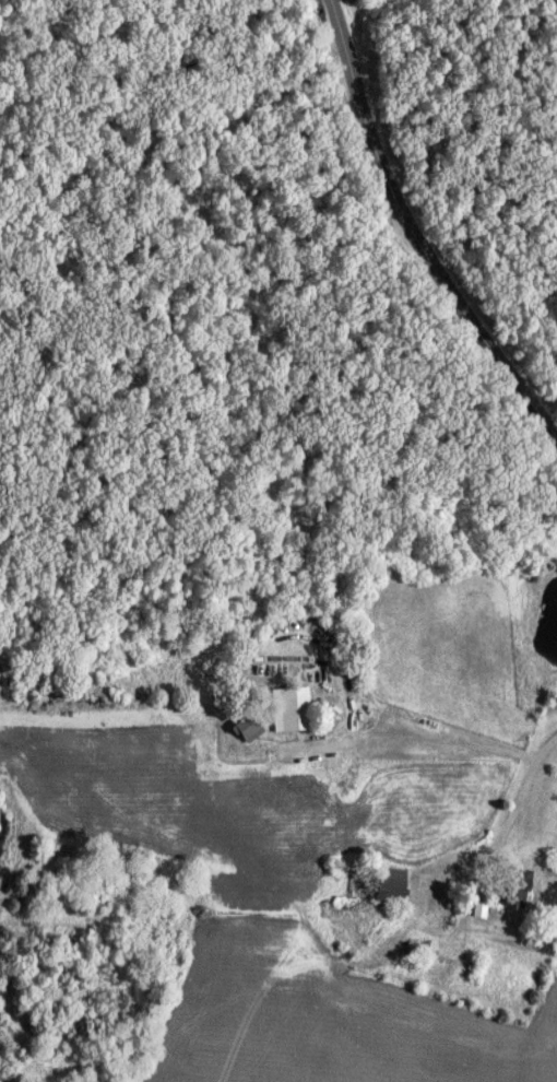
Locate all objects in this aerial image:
road: (417, 233)
building: (298, 707)
road: (507, 822)
building: (389, 884)
building: (513, 885)

